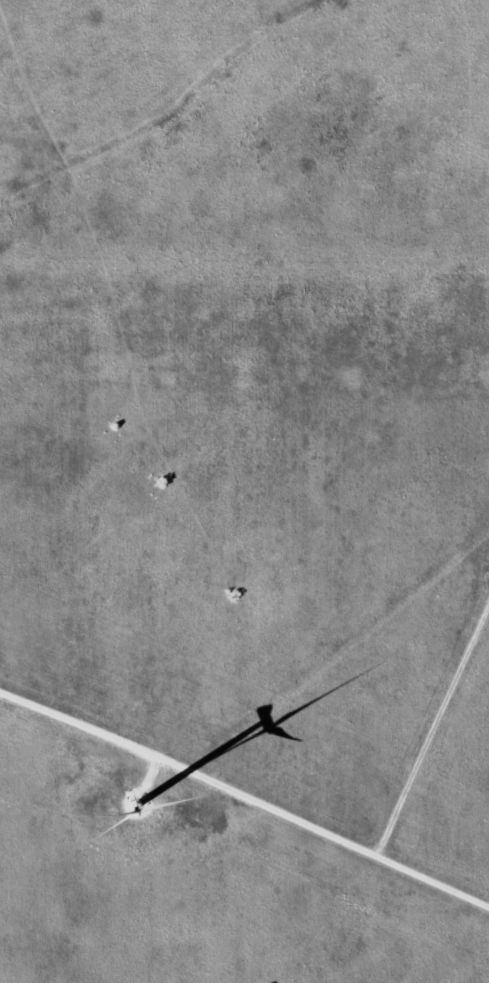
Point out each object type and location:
wind turbine: (135, 810)

